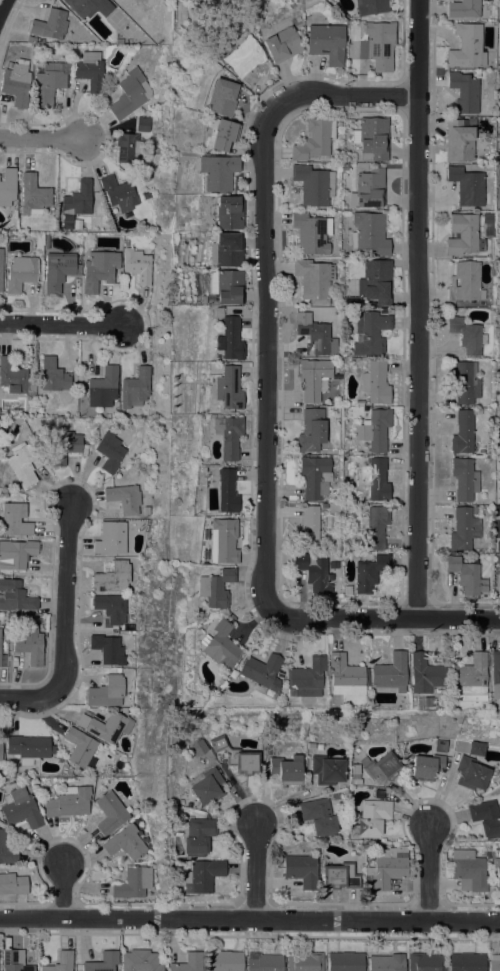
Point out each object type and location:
road: (1, 2)
building: (89, 7)
building: (370, 7)
building: (463, 8)
building: (50, 25)
building: (142, 38)
building: (31, 40)
building: (119, 42)
building: (325, 43)
building: (280, 45)
building: (377, 45)
building: (466, 47)
building: (243, 58)
building: (89, 71)
building: (16, 83)
building: (47, 84)
building: (464, 92)
building: (130, 94)
building: (219, 98)
building: (143, 124)
building: (220, 133)
road: (42, 138)
building: (371, 139)
building: (314, 140)
building: (459, 140)
building: (131, 149)
building: (348, 158)
building: (345, 167)
building: (216, 172)
building: (313, 185)
building: (466, 186)
building: (7, 187)
building: (369, 189)
building: (119, 193)
building: (33, 195)
building: (146, 195)
building: (78, 199)
building: (227, 212)
building: (487, 218)
building: (311, 233)
building: (369, 233)
building: (463, 235)
building: (46, 241)
building: (125, 243)
building: (225, 250)
building: (138, 265)
building: (99, 269)
building: (0, 270)
building: (58, 271)
building: (20, 274)
building: (313, 280)
building: (375, 281)
building: (465, 283)
road: (266, 285)
building: (223, 288)
road: (417, 308)
road: (61, 324)
building: (370, 332)
building: (466, 335)
building: (316, 336)
building: (227, 337)
building: (53, 376)
building: (313, 378)
building: (15, 379)
building: (465, 382)
building: (375, 383)
building: (103, 387)
building: (136, 388)
building: (227, 388)
building: (359, 403)
building: (374, 430)
building: (311, 431)
building: (462, 432)
building: (227, 436)
building: (63, 447)
building: (497, 449)
building: (109, 451)
building: (21, 465)
building: (315, 477)
building: (374, 478)
building: (464, 479)
building: (226, 491)
building: (124, 499)
building: (324, 506)
building: (476, 510)
building: (497, 511)
building: (14, 520)
building: (142, 524)
building: (377, 526)
building: (308, 528)
building: (463, 529)
building: (111, 538)
building: (222, 540)
building: (16, 554)
building: (313, 571)
building: (369, 573)
building: (466, 575)
building: (112, 577)
building: (499, 581)
building: (214, 588)
building: (347, 590)
building: (15, 596)
road: (64, 596)
building: (111, 607)
road: (387, 618)
building: (27, 642)
building: (220, 644)
building: (108, 649)
building: (389, 673)
building: (261, 674)
building: (422, 674)
building: (344, 675)
building: (494, 675)
building: (220, 677)
building: (305, 678)
building: (468, 679)
building: (106, 692)
road: (28, 696)
building: (107, 726)
building: (441, 745)
building: (311, 746)
building: (79, 747)
building: (470, 747)
building: (28, 748)
building: (198, 748)
building: (0, 750)
building: (237, 756)
building: (381, 767)
building: (427, 767)
building: (286, 769)
building: (327, 770)
building: (355, 771)
building: (471, 773)
building: (355, 781)
building: (1, 784)
building: (206, 787)
building: (386, 788)
building: (380, 793)
building: (68, 802)
building: (20, 807)
building: (110, 813)
building: (318, 816)
building: (485, 817)
building: (372, 818)
building: (197, 836)
building: (125, 842)
building: (7, 849)
building: (487, 855)
building: (386, 869)
building: (301, 870)
building: (468, 870)
road: (256, 871)
building: (497, 871)
building: (339, 874)
road: (430, 874)
building: (202, 876)
building: (12, 883)
building: (133, 883)
road: (62, 888)
road: (249, 919)
building: (14, 961)
building: (139, 961)
building: (224, 961)
building: (345, 961)
building: (60, 962)
building: (102, 962)
building: (263, 962)
building: (305, 962)
building: (425, 962)
building: (466, 962)
building: (188, 963)
building: (386, 963)
building: (494, 963)

